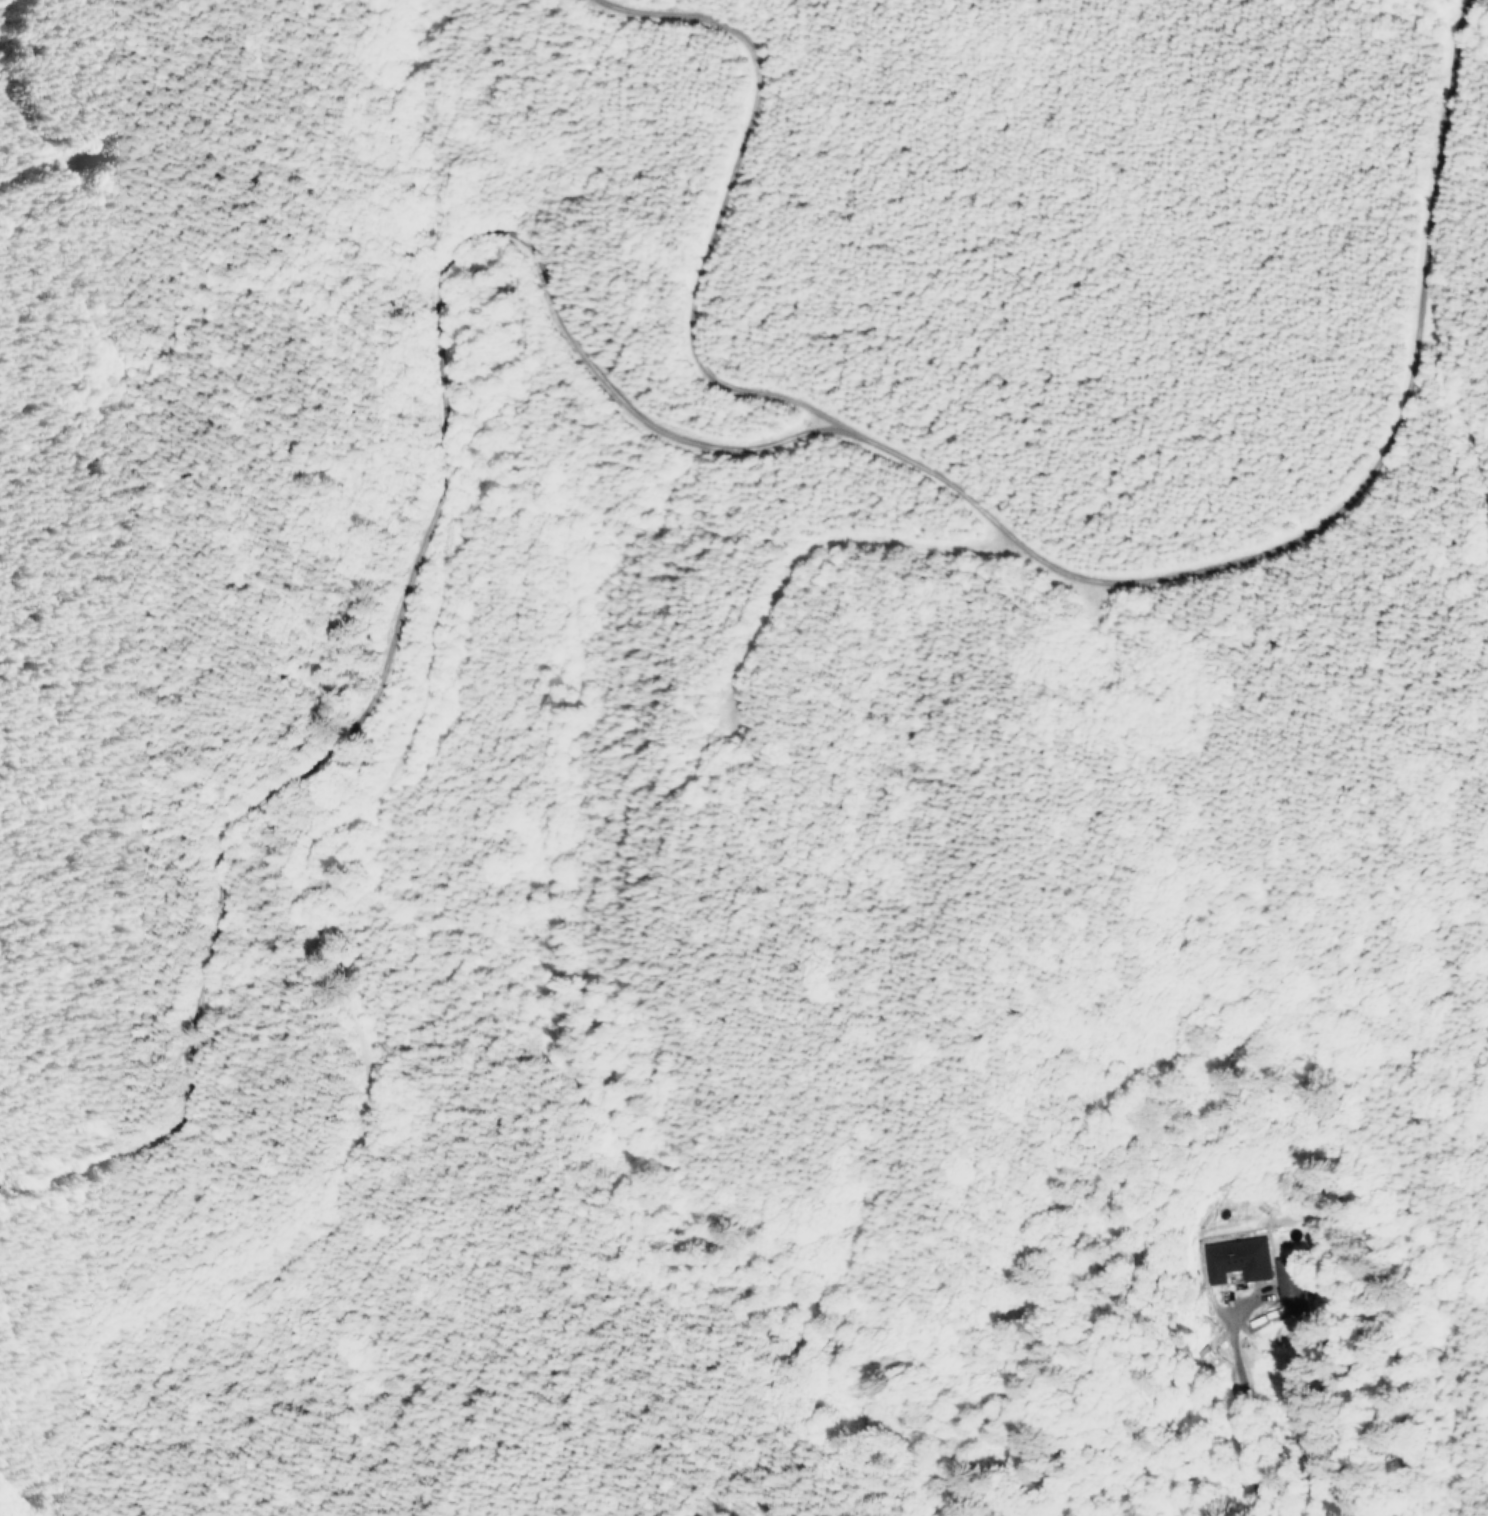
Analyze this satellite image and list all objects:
road: (1244, 1429)

